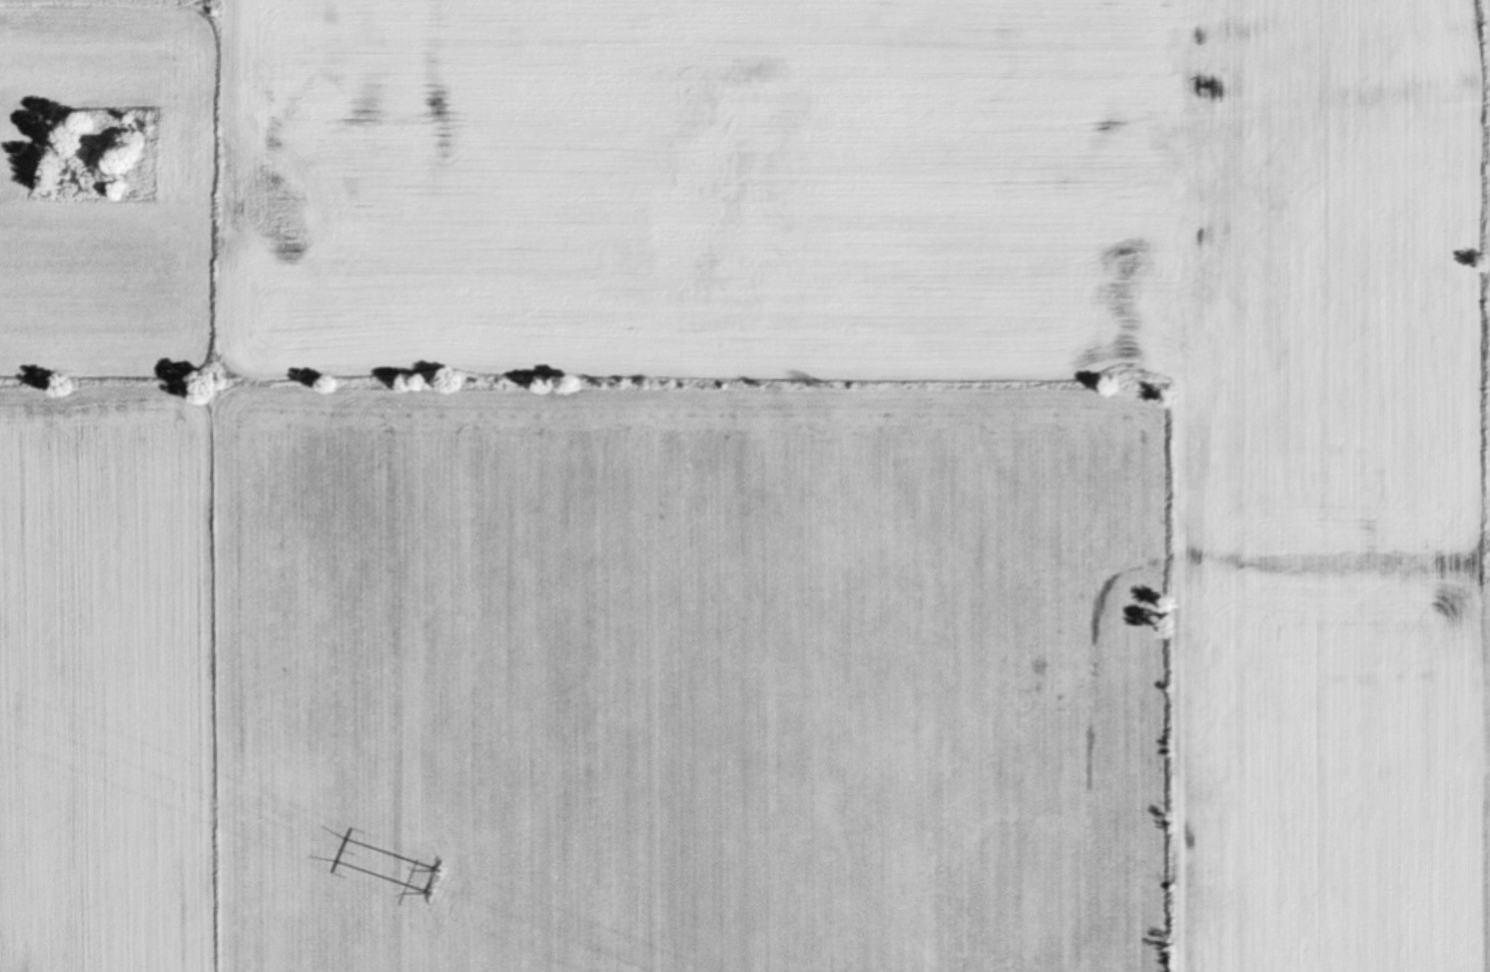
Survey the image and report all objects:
power tower: (432, 877)

